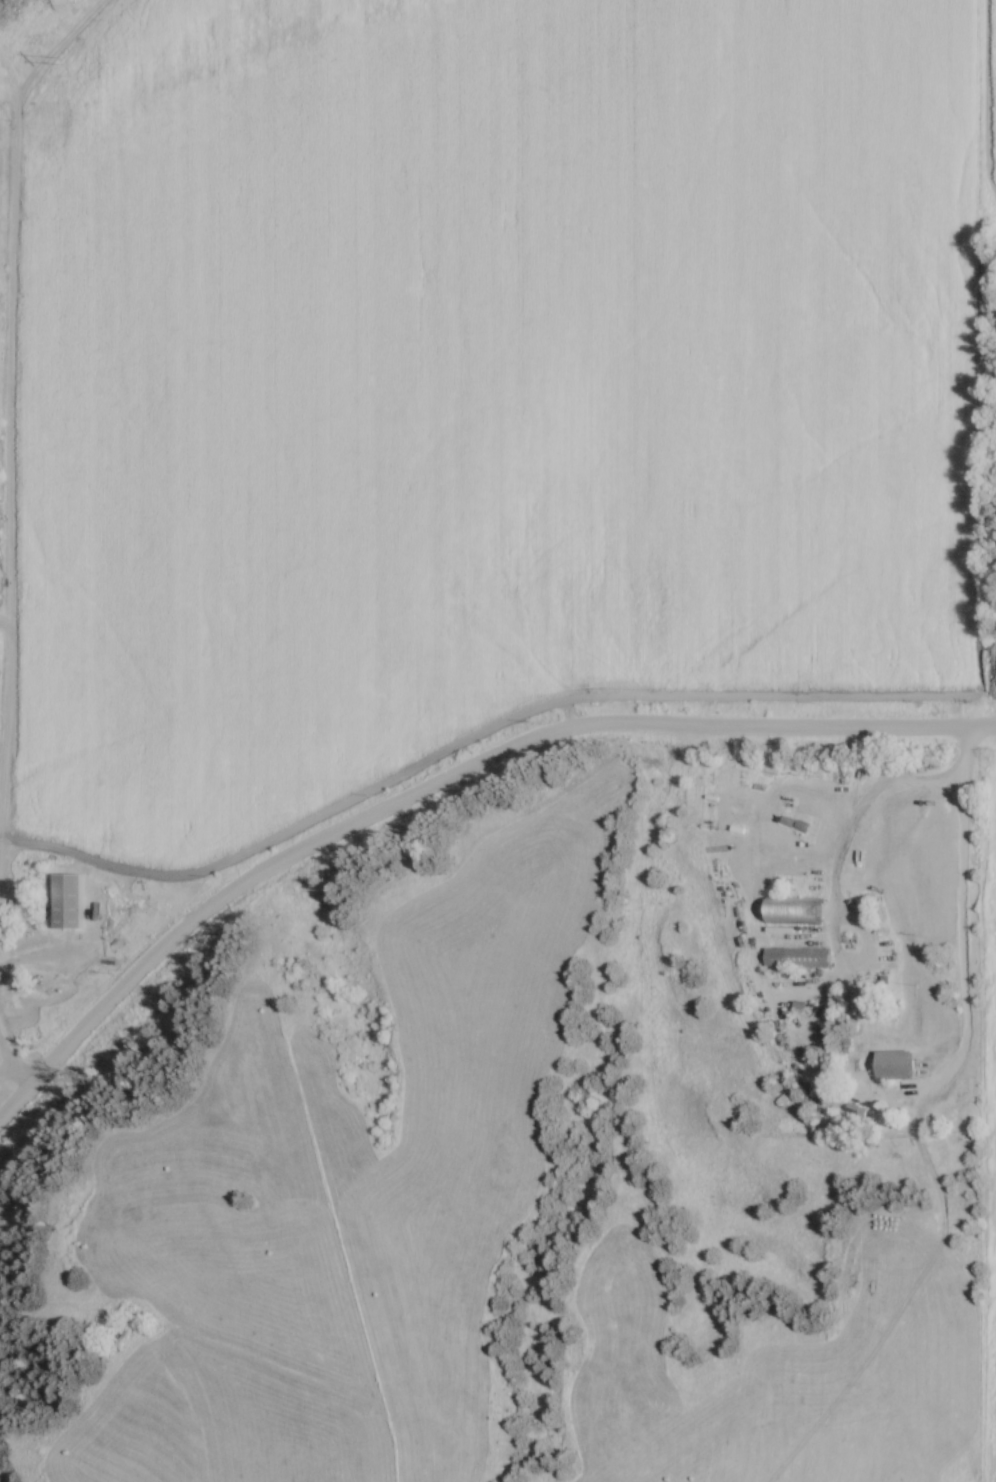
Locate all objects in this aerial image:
power tower: (61, 62)
road: (444, 786)
road: (854, 863)
road: (959, 924)
building: (794, 957)
building: (893, 1065)
road: (11, 1071)

